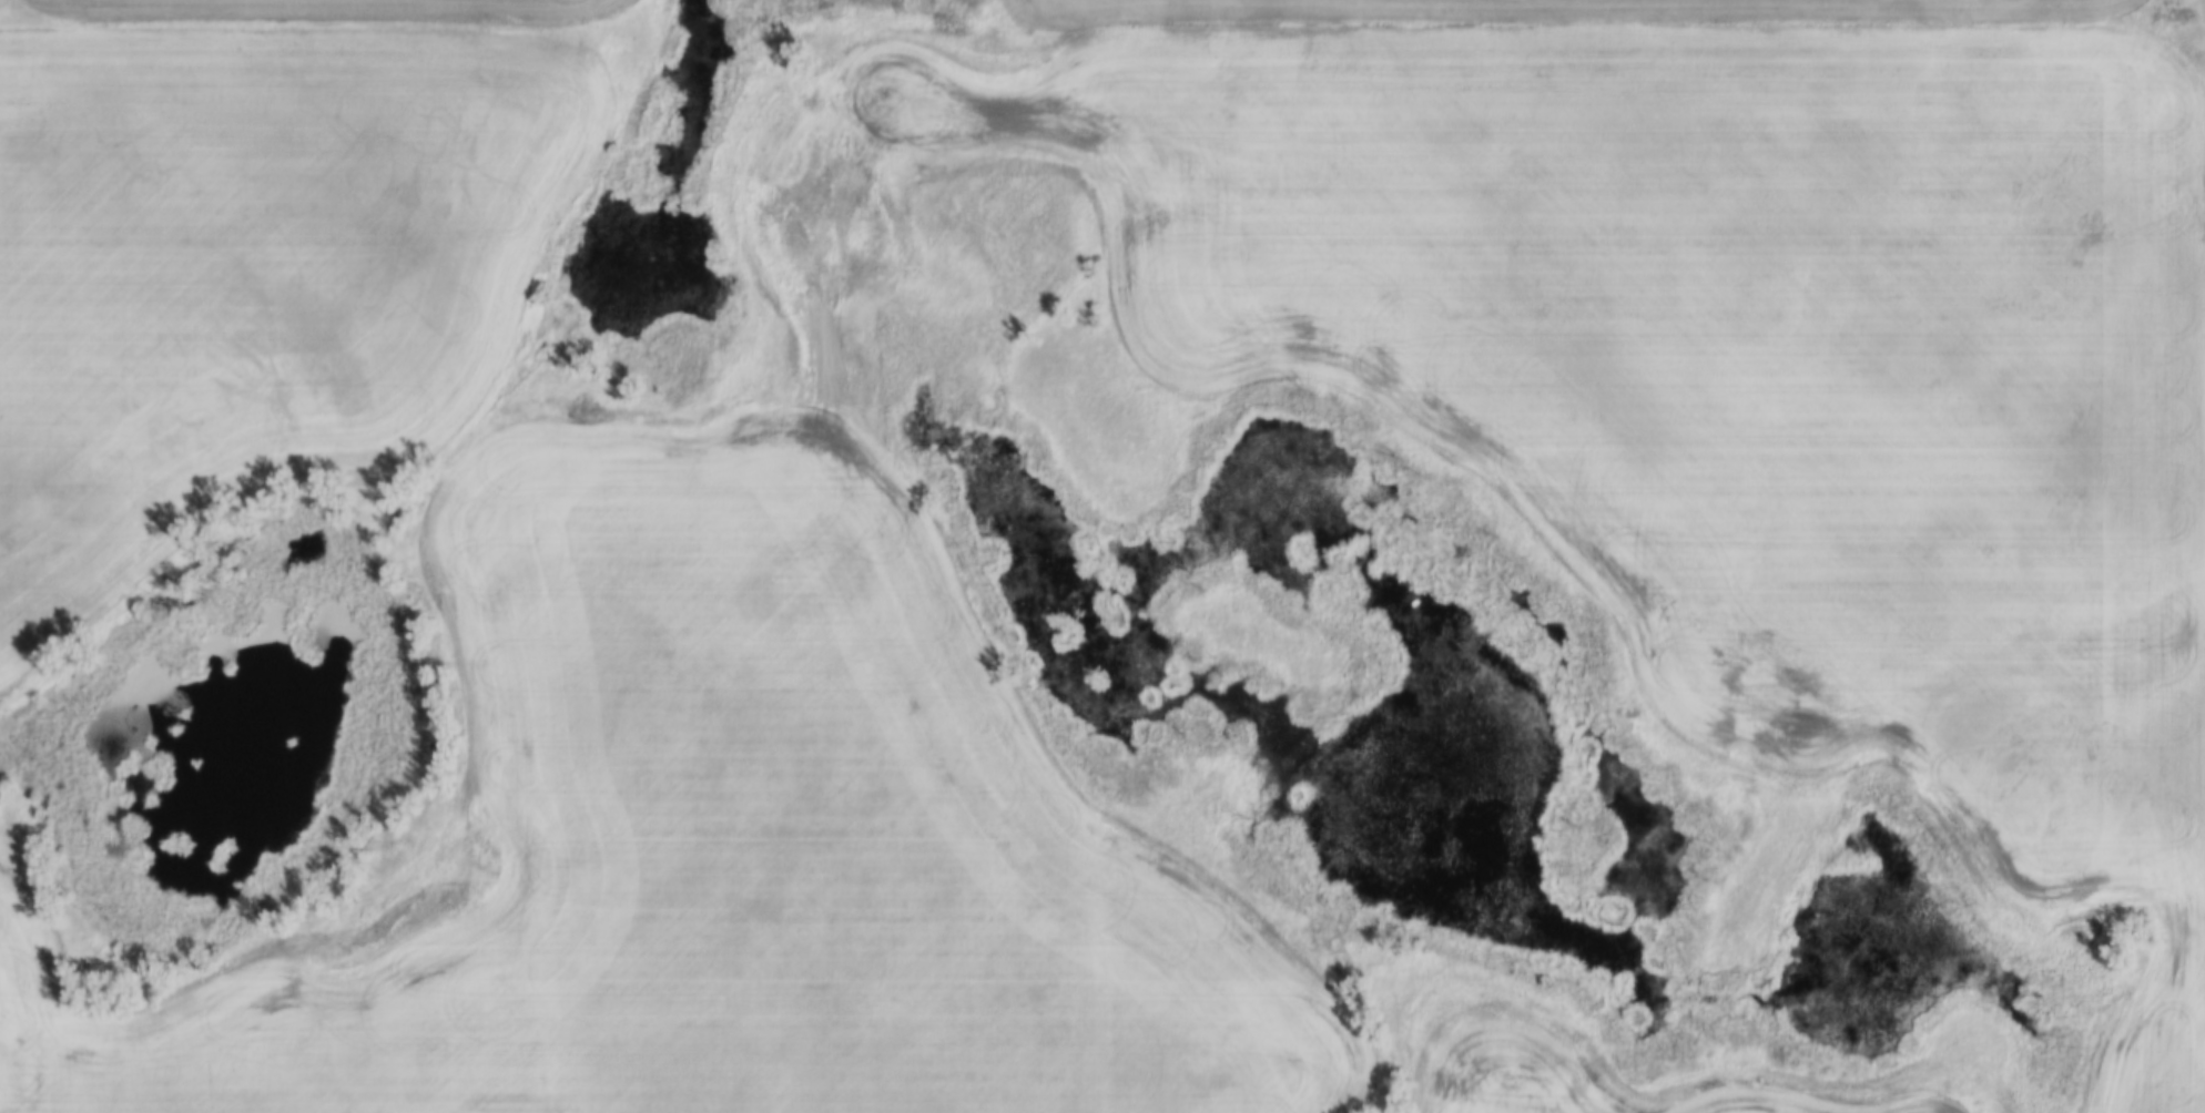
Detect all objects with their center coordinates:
road: (2199, 215)

